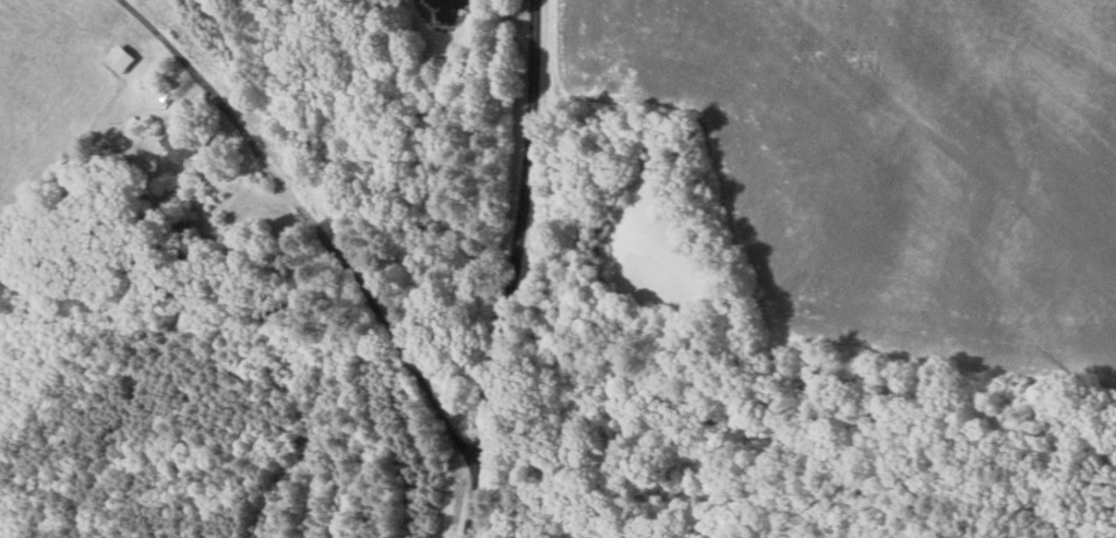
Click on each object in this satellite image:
building: (119, 59)
road: (313, 225)
road: (513, 270)

